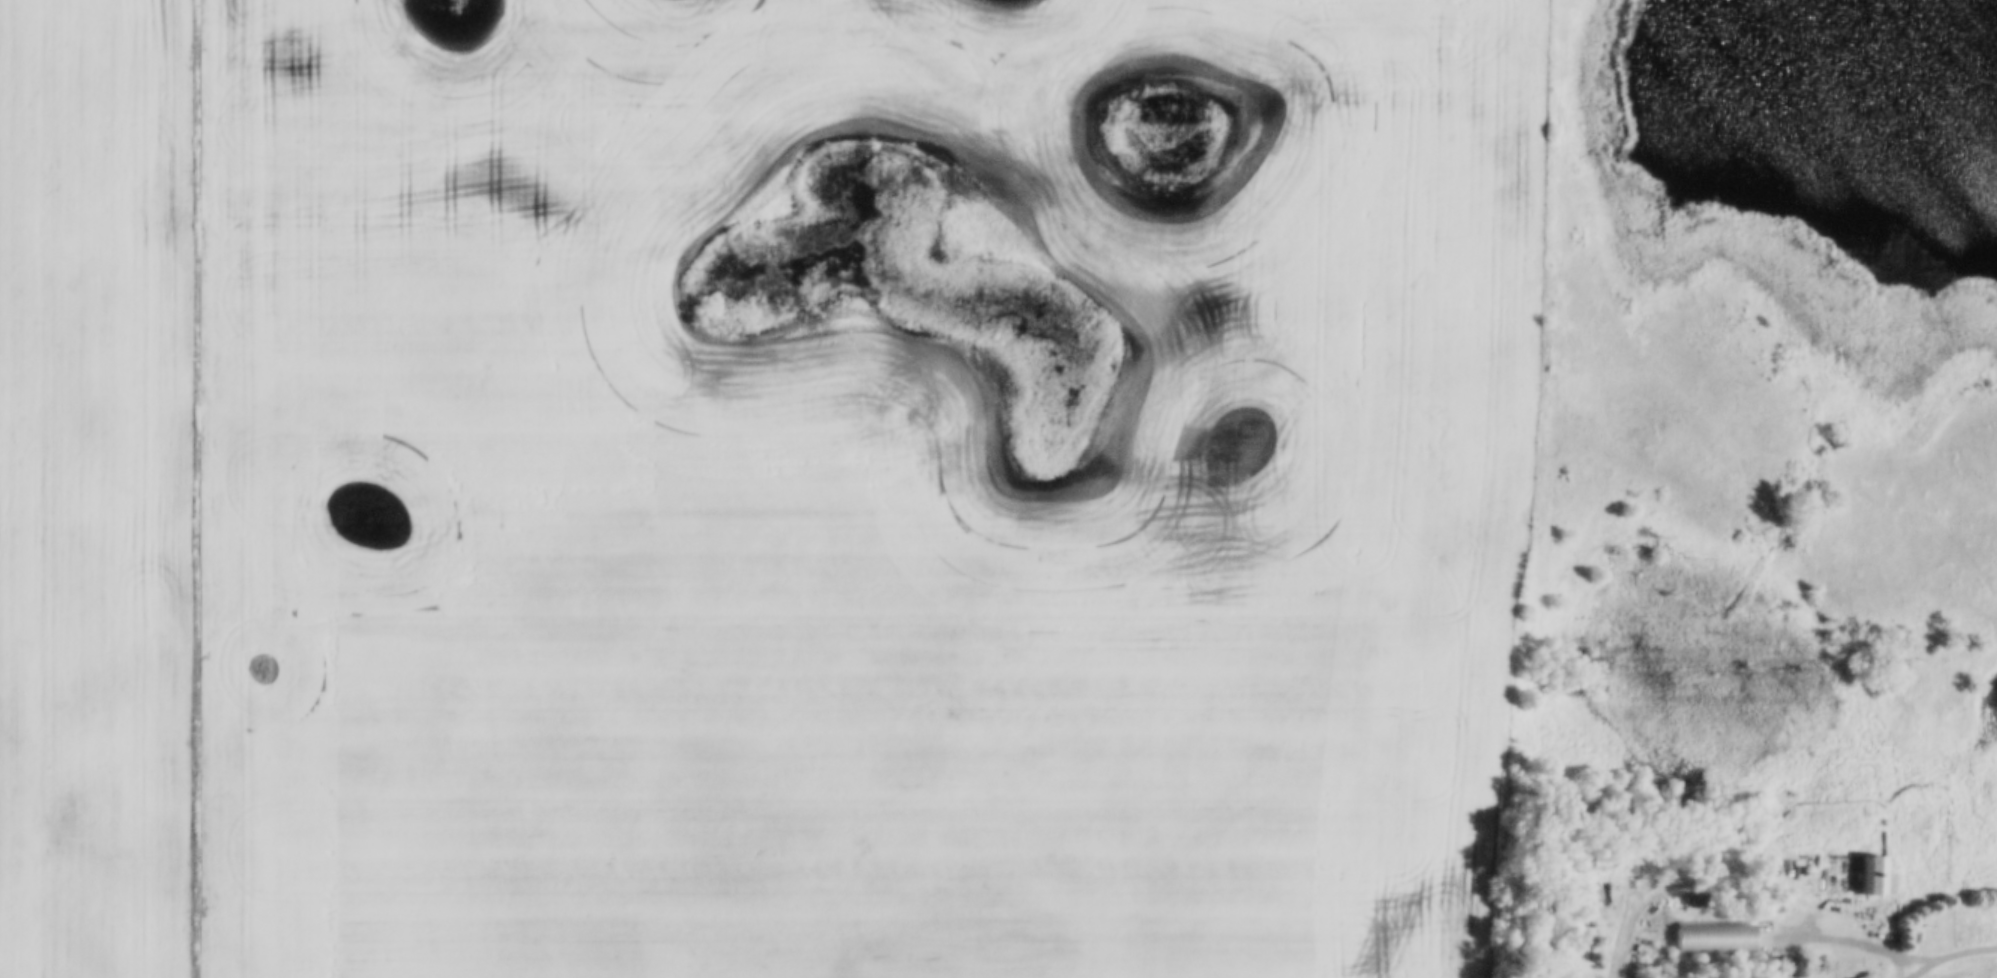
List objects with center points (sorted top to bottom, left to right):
building: (1874, 879)
road: (1955, 954)
building: (1791, 969)

